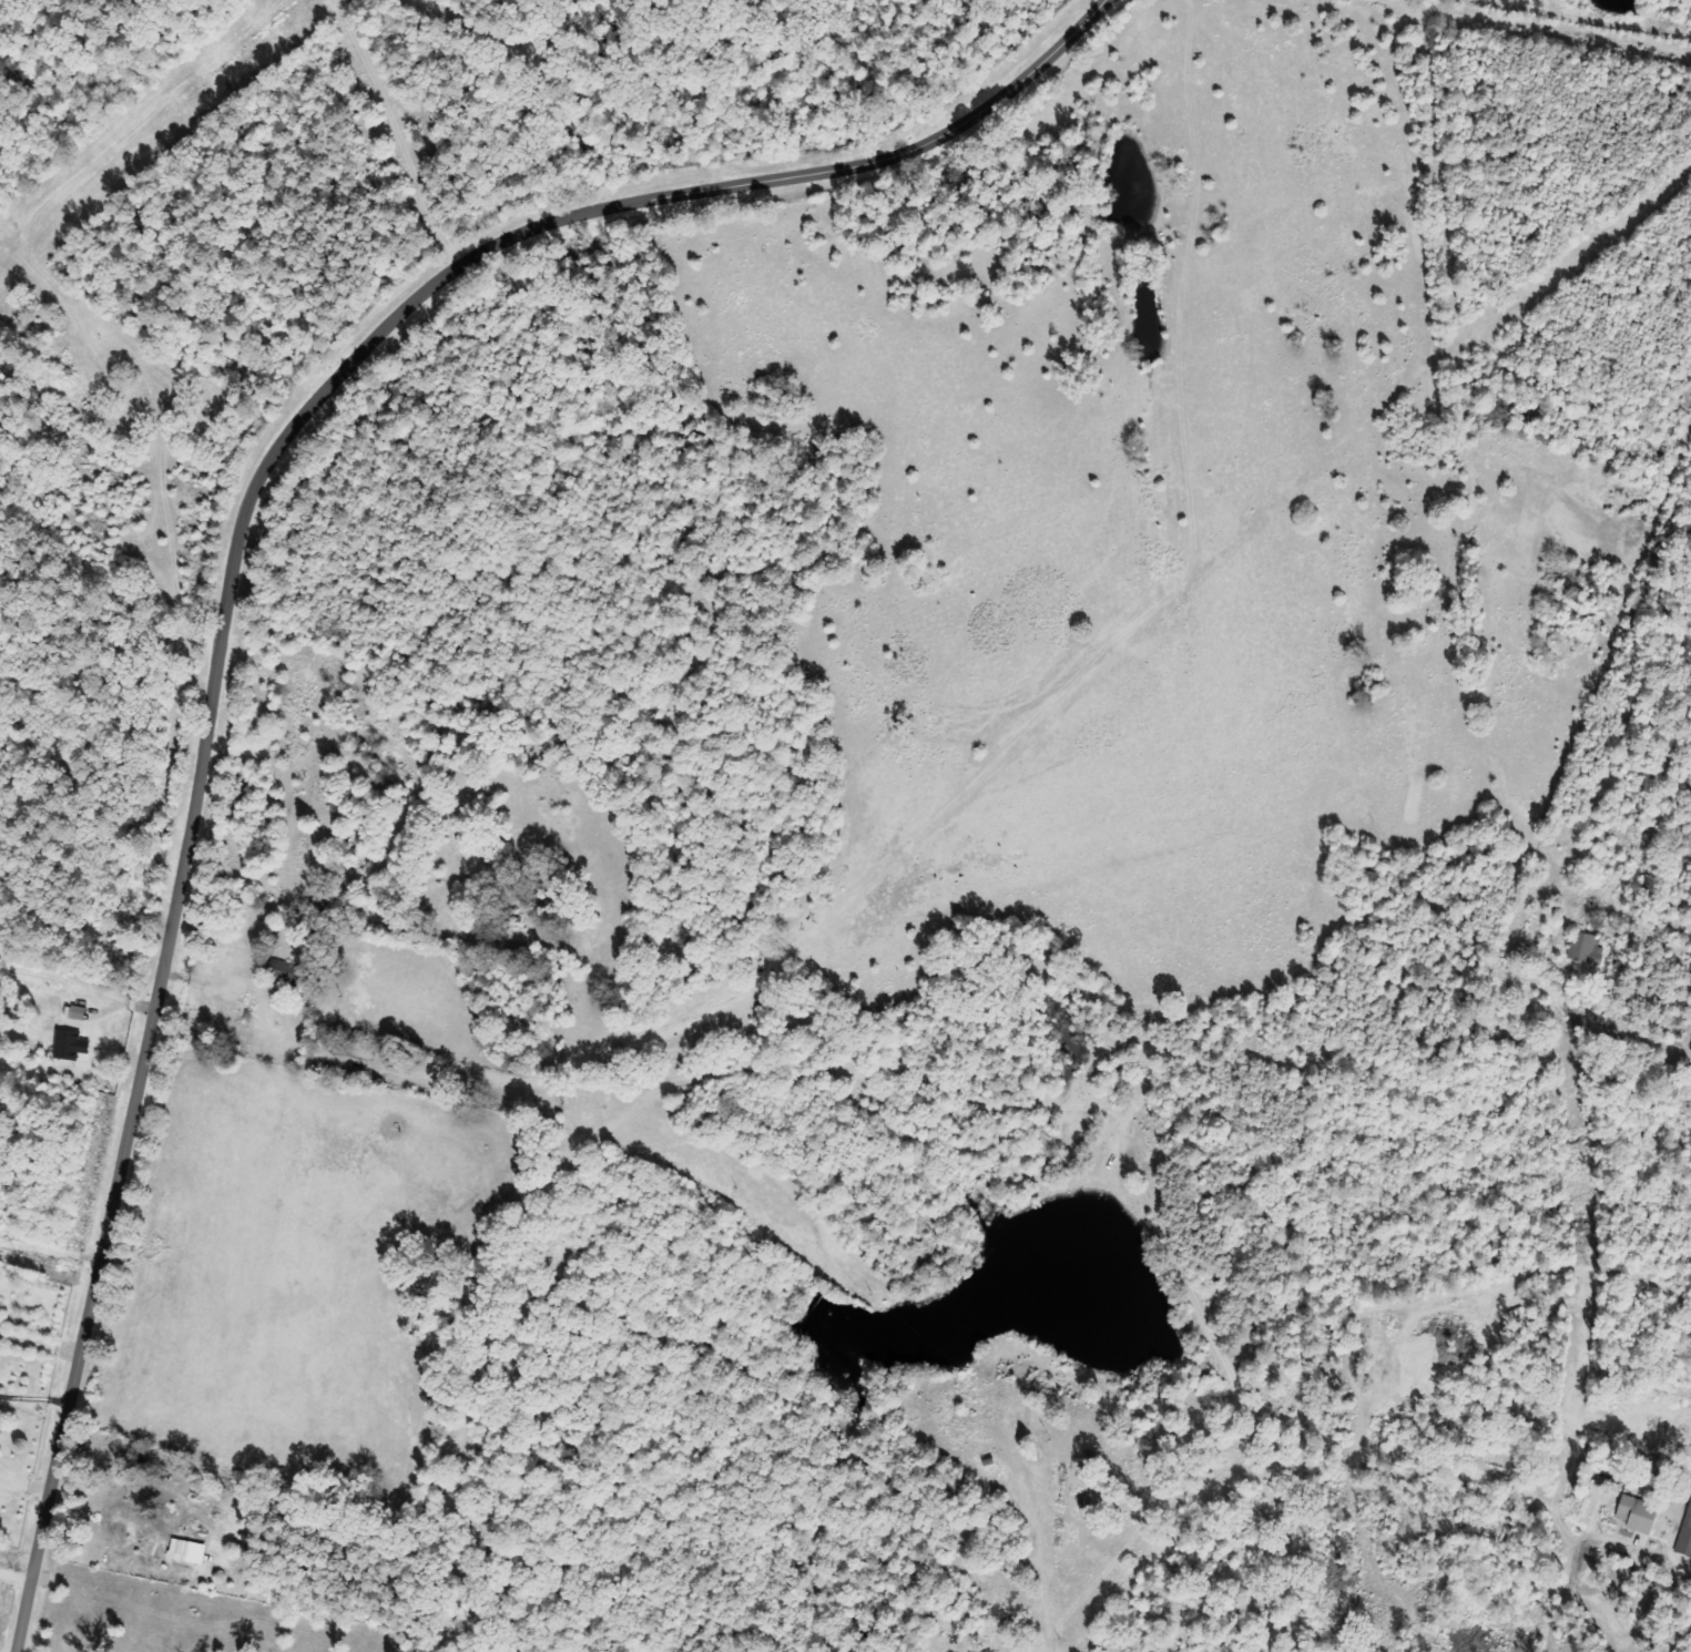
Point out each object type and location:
road: (163, 459)
road: (232, 568)
road: (1427, 845)
building: (1588, 947)
building: (292, 973)
building: (80, 1013)
building: (72, 1044)
road: (849, 1075)
road: (1223, 1445)
building: (1640, 1515)
building: (1685, 1538)
building: (189, 1551)
road: (14, 1578)
road: (1051, 1635)

